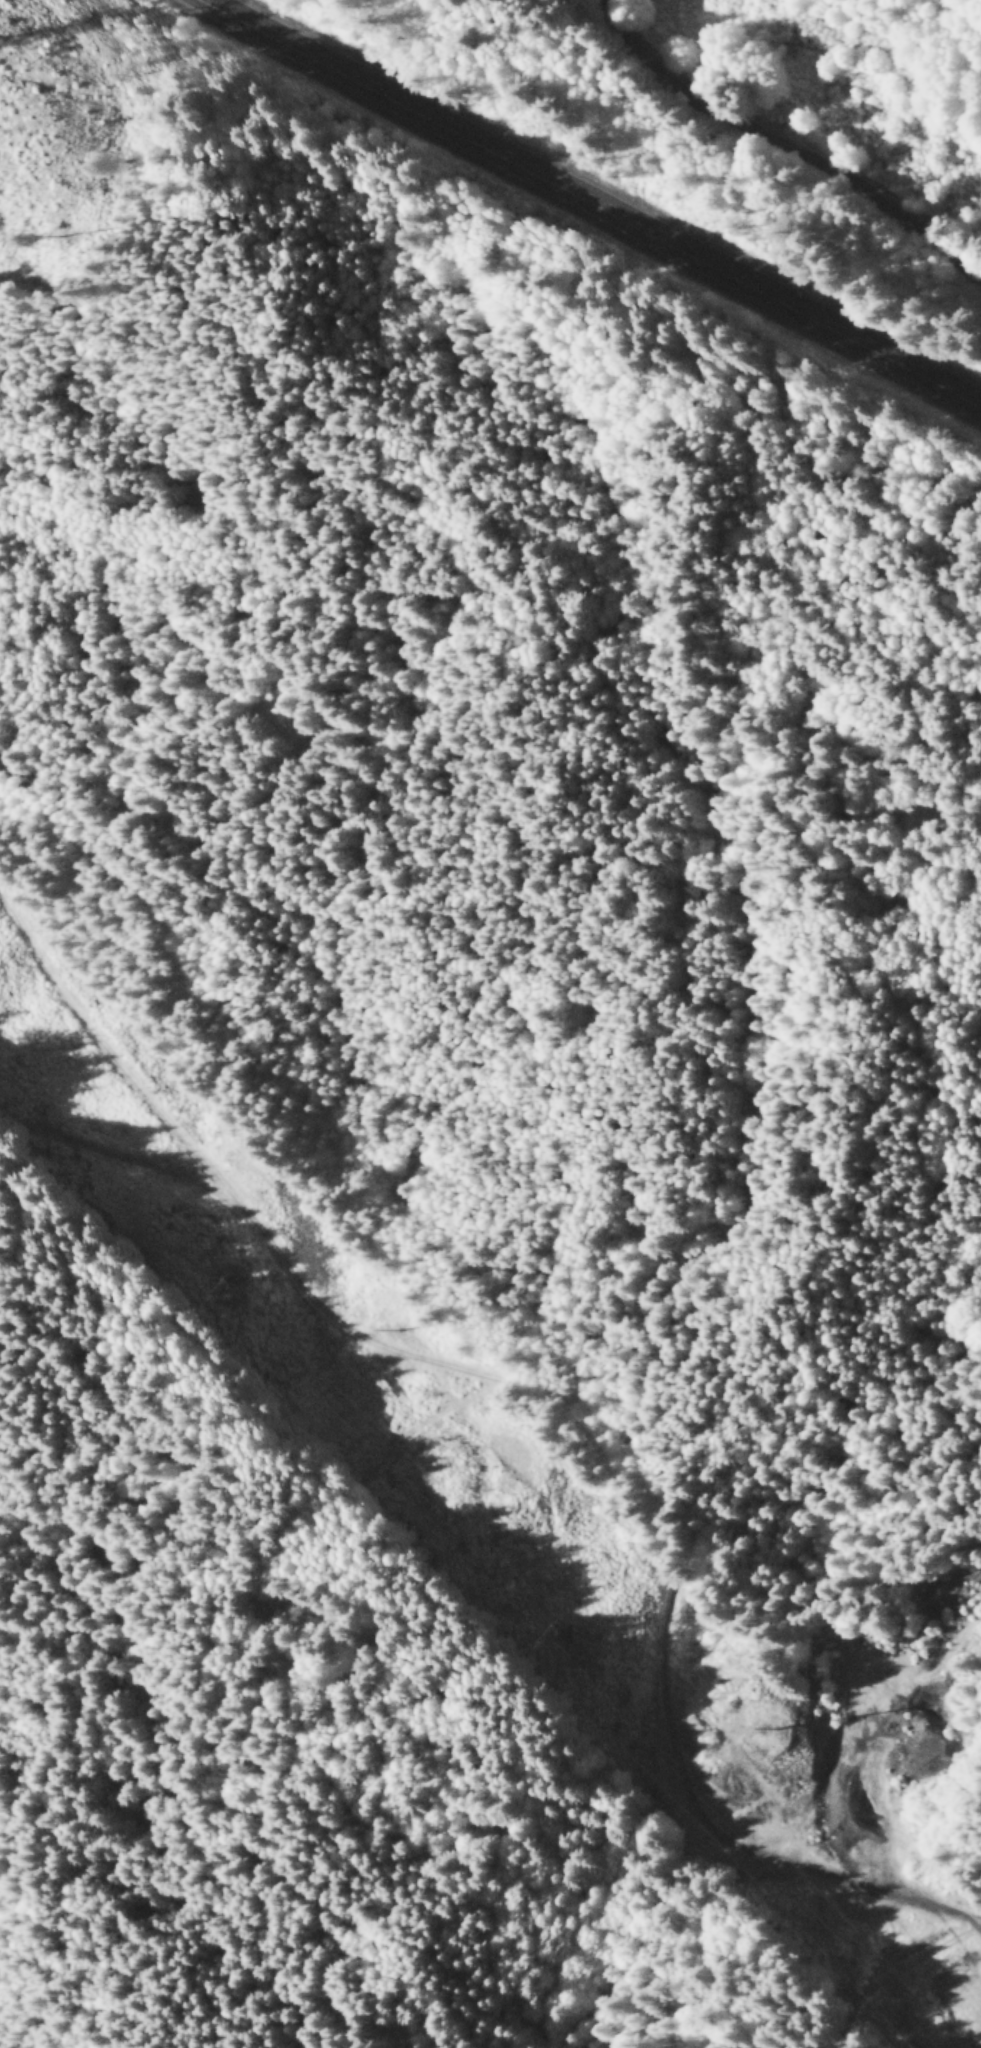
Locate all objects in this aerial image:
road: (603, 200)
power tower: (233, 1159)
power tower: (233, 1288)
road: (598, 1417)
power tower: (522, 1459)
power tower: (566, 1637)
power tower: (782, 1730)

